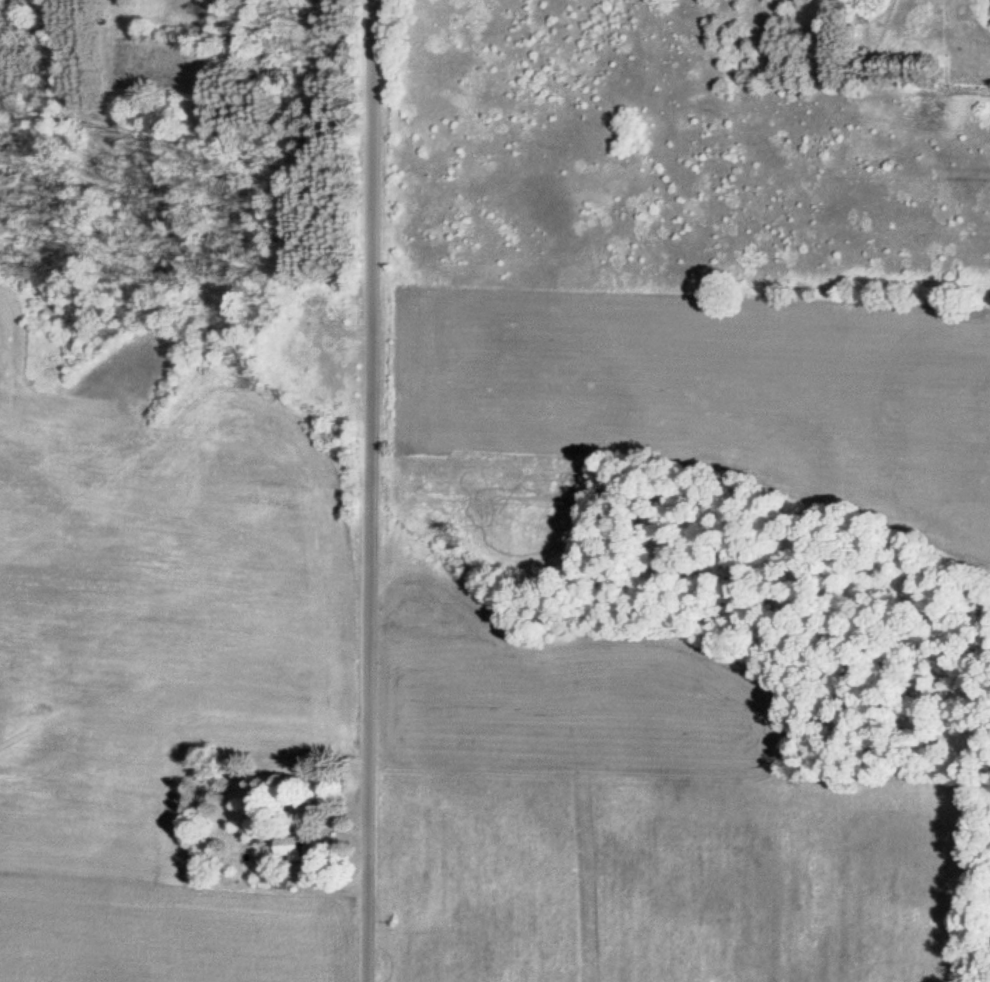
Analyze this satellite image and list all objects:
road: (371, 491)
building: (291, 847)

